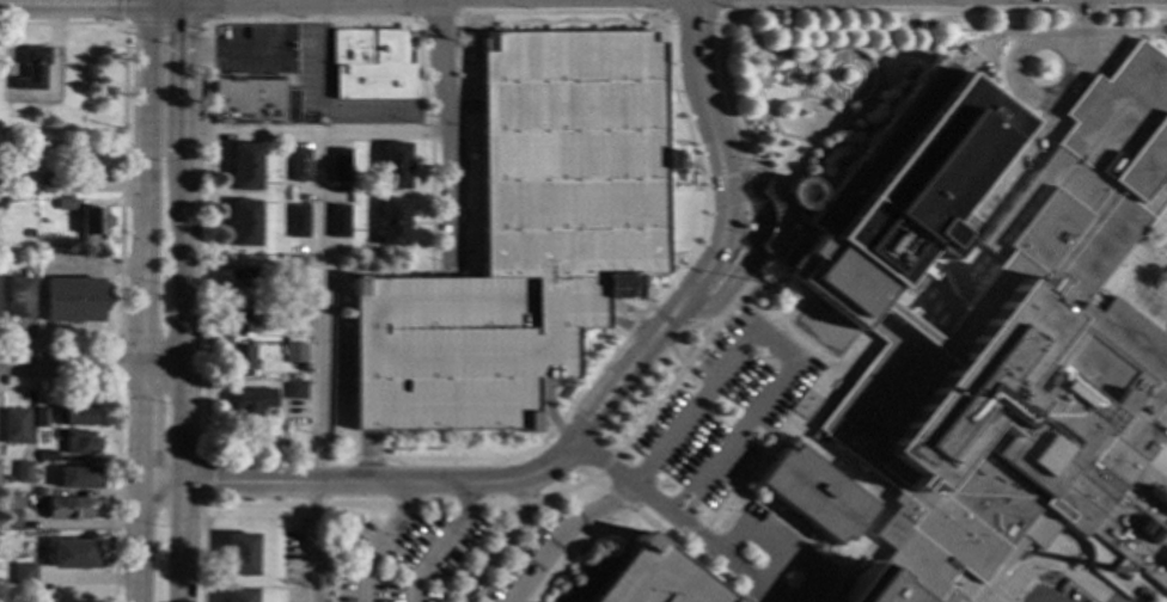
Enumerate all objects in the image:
road: (859, 8)
road: (695, 10)
road: (200, 11)
road: (438, 14)
building: (772, 16)
road: (1081, 17)
road: (219, 20)
road: (670, 20)
road: (207, 21)
road: (151, 23)
road: (1113, 32)
road: (990, 39)
road: (1021, 45)
road: (470, 49)
road: (256, 51)
road: (855, 53)
building: (372, 63)
road: (322, 67)
building: (32, 68)
road: (878, 70)
building: (252, 97)
road: (465, 106)
road: (772, 118)
road: (826, 127)
road: (450, 129)
road: (316, 134)
building: (86, 154)
building: (340, 164)
building: (300, 165)
building: (395, 165)
road: (1008, 165)
building: (245, 166)
road: (723, 177)
road: (122, 178)
building: (48, 184)
building: (799, 192)
building: (65, 203)
road: (1004, 203)
road: (782, 207)
building: (774, 219)
building: (299, 220)
building: (340, 220)
building: (93, 221)
building: (393, 221)
building: (244, 222)
building: (29, 232)
building: (526, 238)
parking lot: (526, 238)
road: (182, 240)
road: (719, 241)
road: (752, 251)
building: (295, 266)
road: (332, 266)
building: (245, 277)
road: (1110, 277)
road: (1143, 278)
road: (778, 295)
building: (18, 297)
building: (73, 299)
road: (143, 299)
road: (622, 306)
building: (295, 315)
road: (666, 319)
building: (239, 320)
road: (628, 325)
road: (631, 325)
road: (613, 328)
road: (683, 331)
building: (998, 331)
road: (786, 333)
building: (294, 352)
road: (691, 355)
building: (240, 360)
road: (118, 363)
road: (789, 365)
road: (316, 367)
road: (91, 369)
road: (334, 369)
road: (821, 385)
building: (294, 389)
building: (569, 394)
building: (251, 399)
parking lot: (725, 405)
building: (74, 413)
road: (549, 413)
building: (42, 417)
road: (1161, 418)
road: (542, 422)
building: (14, 426)
road: (117, 436)
building: (81, 441)
building: (47, 455)
road: (367, 457)
road: (568, 457)
road: (496, 459)
road: (603, 461)
building: (22, 472)
building: (80, 477)
road: (744, 477)
building: (6, 479)
road: (160, 483)
road: (203, 483)
road: (597, 483)
road: (384, 484)
road: (862, 489)
building: (38, 491)
building: (813, 493)
road: (349, 503)
building: (71, 508)
road: (634, 510)
building: (10, 512)
road: (789, 526)
road: (684, 529)
road: (562, 533)
road: (378, 540)
road: (734, 541)
road: (178, 542)
road: (440, 543)
road: (505, 545)
road: (473, 549)
road: (788, 552)
building: (73, 554)
building: (239, 554)
parking lot: (445, 559)
road: (725, 559)
road: (1058, 559)
road: (774, 570)
building: (25, 573)
building: (654, 577)
parking lot: (654, 577)
road: (1001, 580)
road: (833, 584)
building: (833, 585)
building: (875, 586)
road: (1027, 591)
road: (818, 592)
building: (238, 594)
parking lot: (1069, 594)
road: (754, 595)
road: (1043, 595)
road: (1002, 596)

